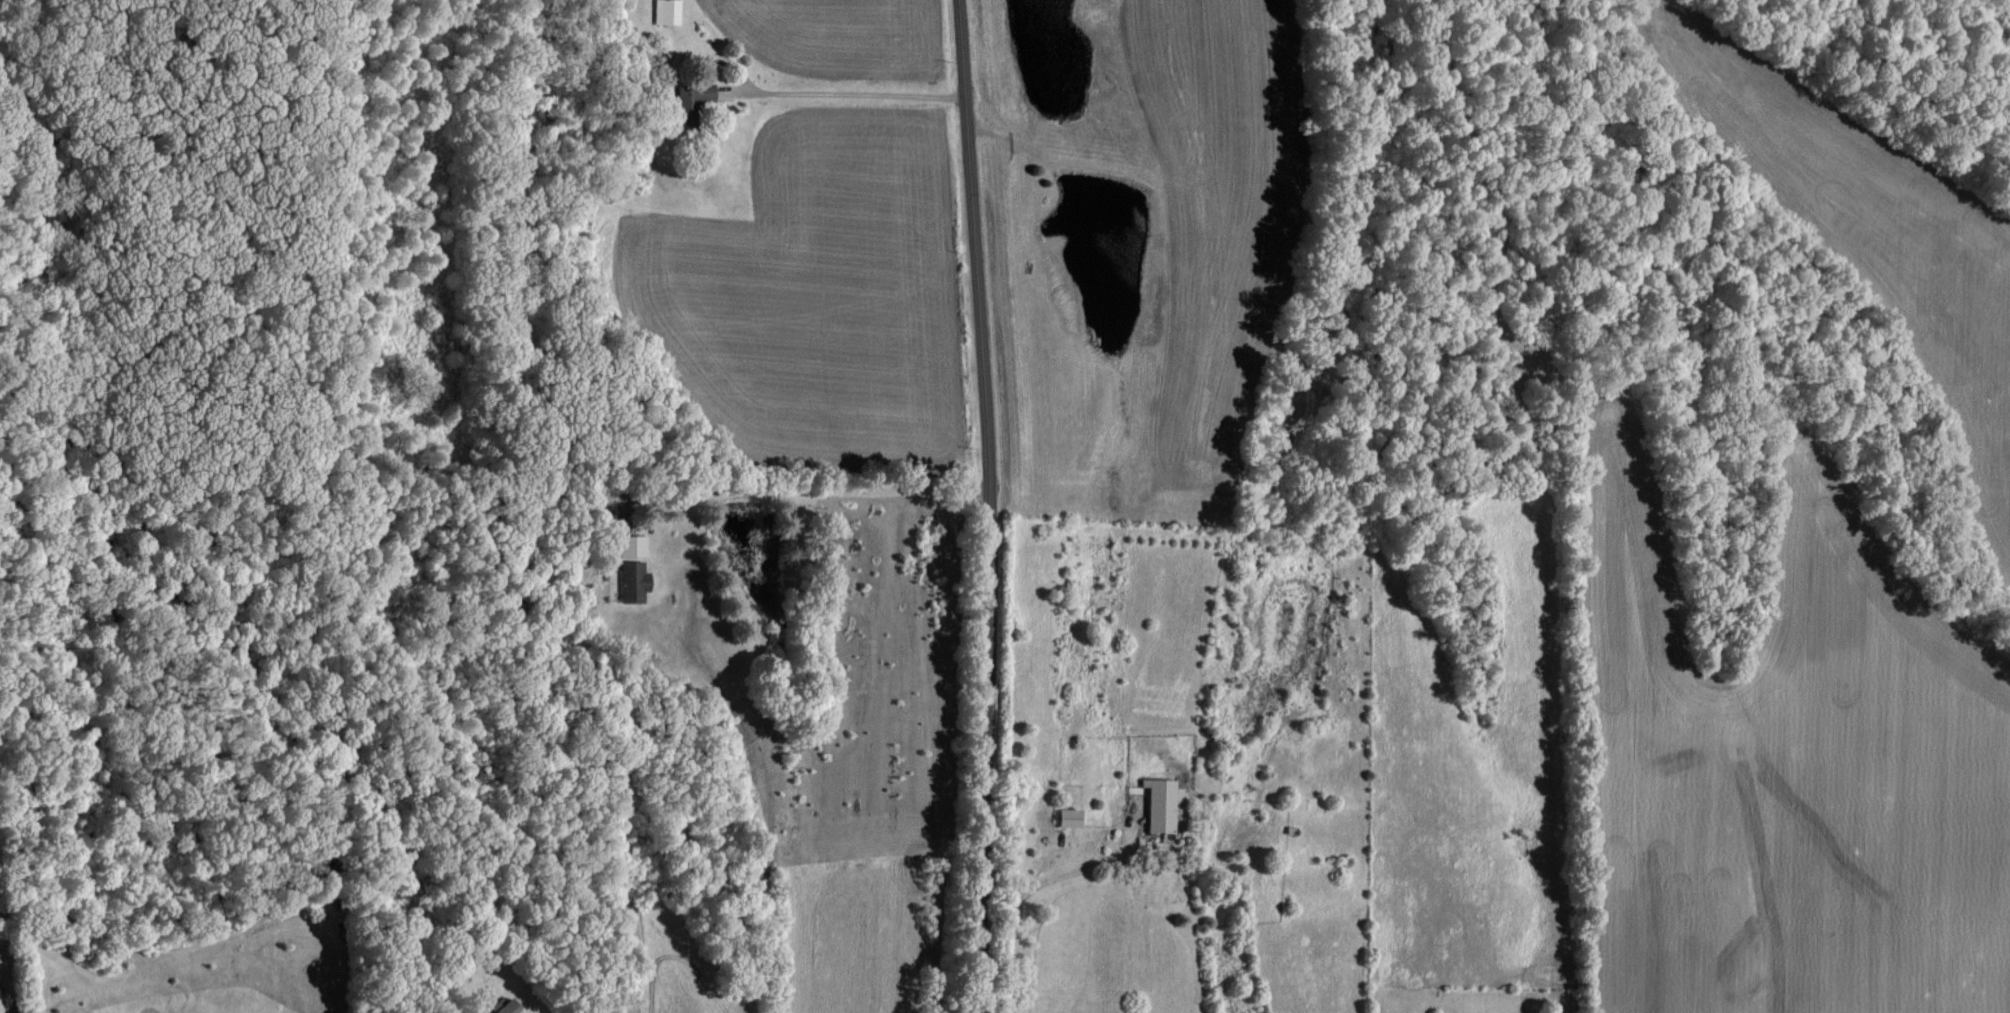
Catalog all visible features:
building: (665, 12)
building: (690, 99)
road: (827, 488)
road: (989, 506)
building: (631, 545)
building: (631, 580)
building: (1159, 803)
building: (1065, 816)
building: (503, 1007)

